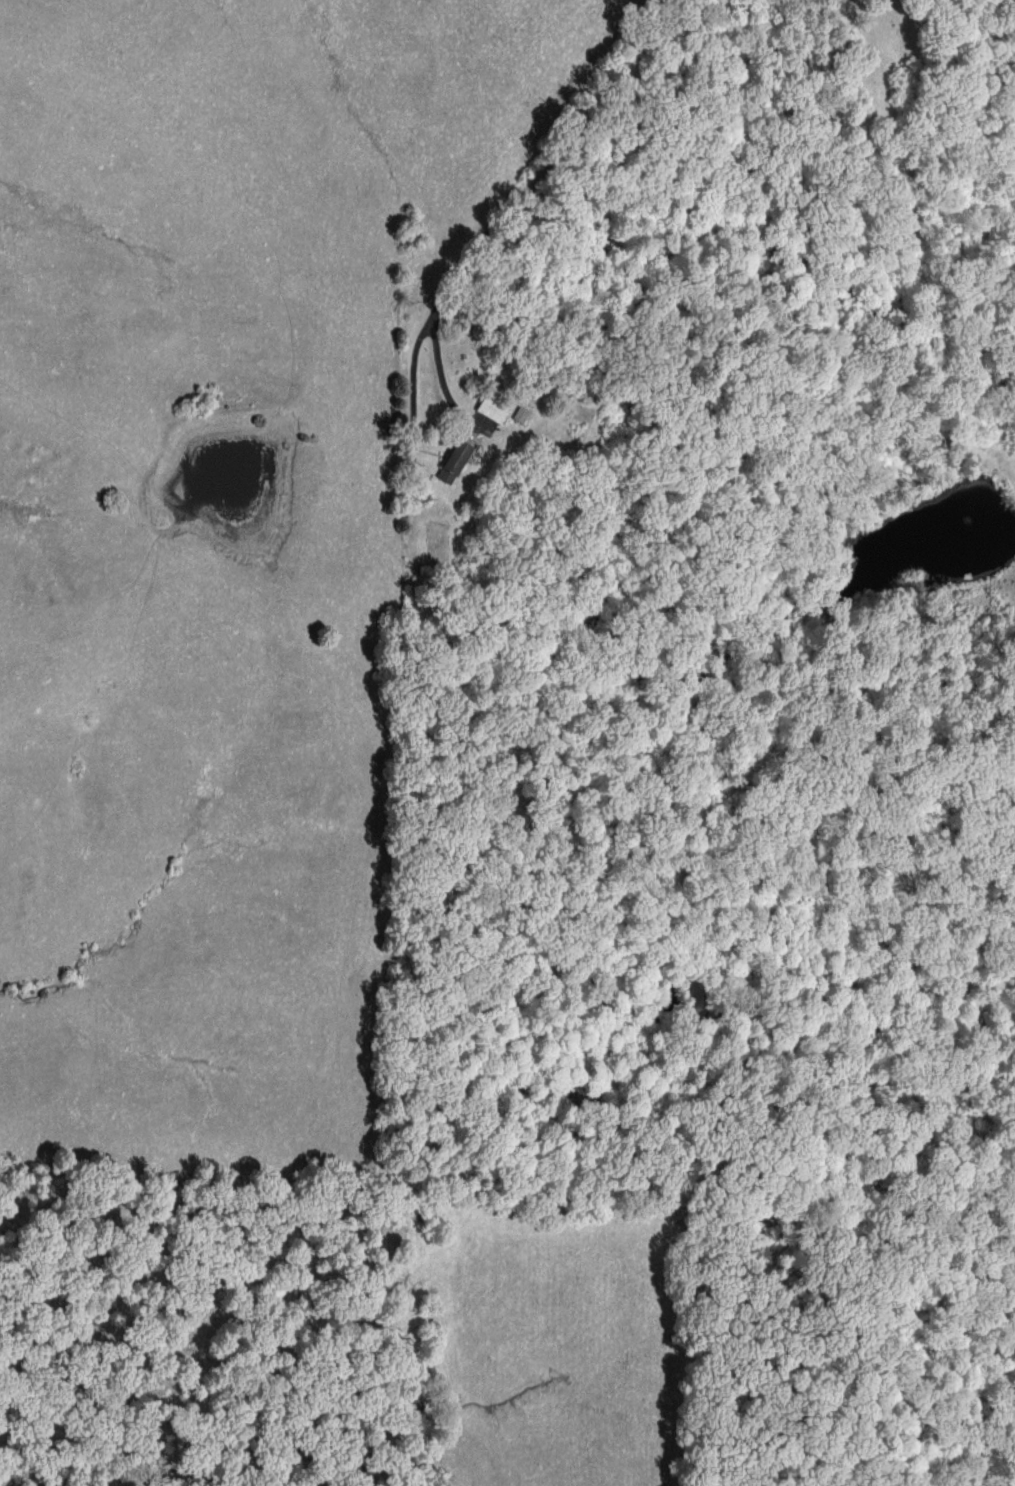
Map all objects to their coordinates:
road: (513, 192)
building: (487, 407)
building: (517, 414)
building: (447, 461)

